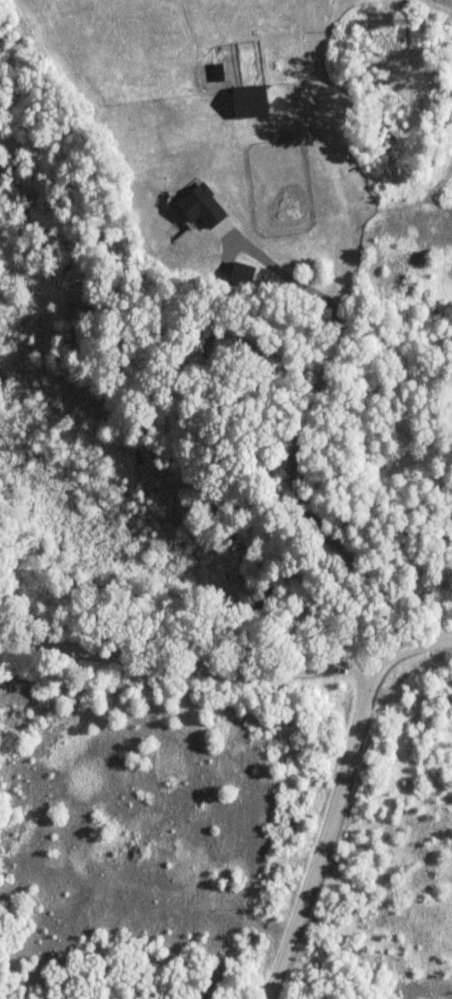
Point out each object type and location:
road: (298, 437)
road: (227, 668)
road: (331, 830)

